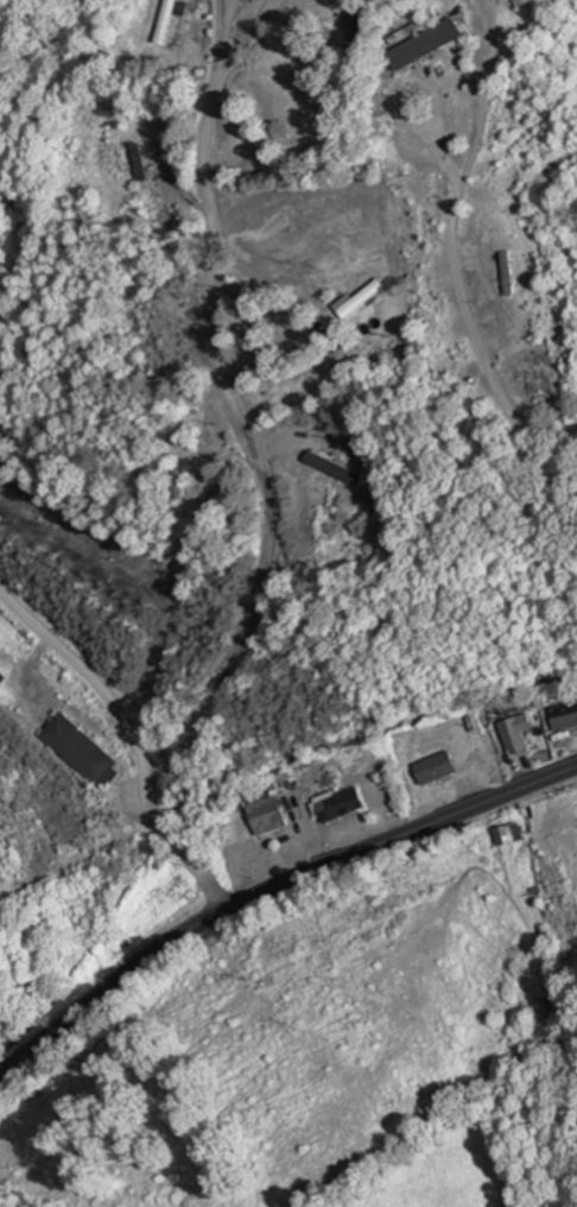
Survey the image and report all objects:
building: (439, 0)
building: (520, 0)
building: (525, 1)
building: (366, 12)
building: (171, 18)
building: (437, 40)
building: (139, 150)
building: (169, 215)
road: (459, 239)
building: (516, 270)
building: (509, 272)
road: (268, 273)
building: (379, 298)
road: (286, 341)
building: (343, 462)
building: (190, 476)
road: (267, 489)
building: (1, 669)
road: (96, 678)
building: (562, 703)
building: (512, 722)
building: (81, 739)
building: (433, 757)
building: (338, 796)
building: (267, 807)
building: (506, 826)
road: (270, 889)

